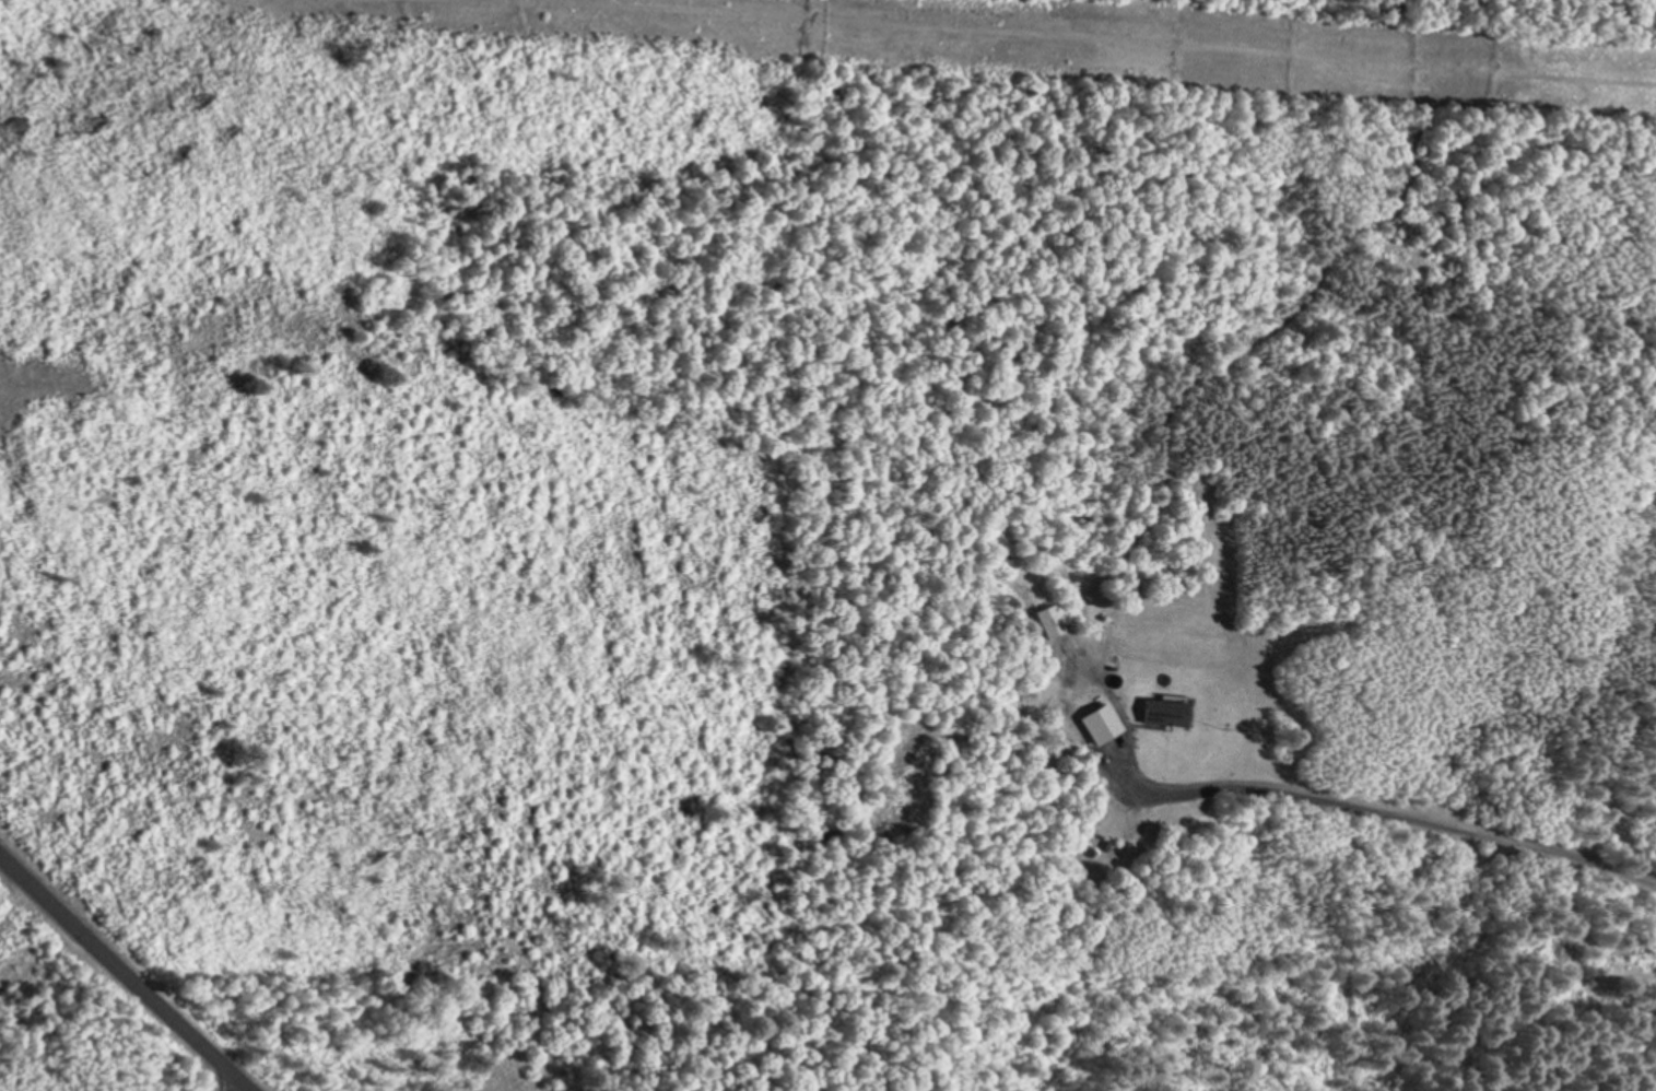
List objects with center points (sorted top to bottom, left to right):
road: (1053, 35)
building: (1043, 622)
building: (1158, 712)
building: (1093, 725)
road: (1402, 818)
building: (1099, 843)
building: (1109, 849)
building: (1081, 852)
building: (1636, 951)
road: (125, 973)
road: (233, 1086)

